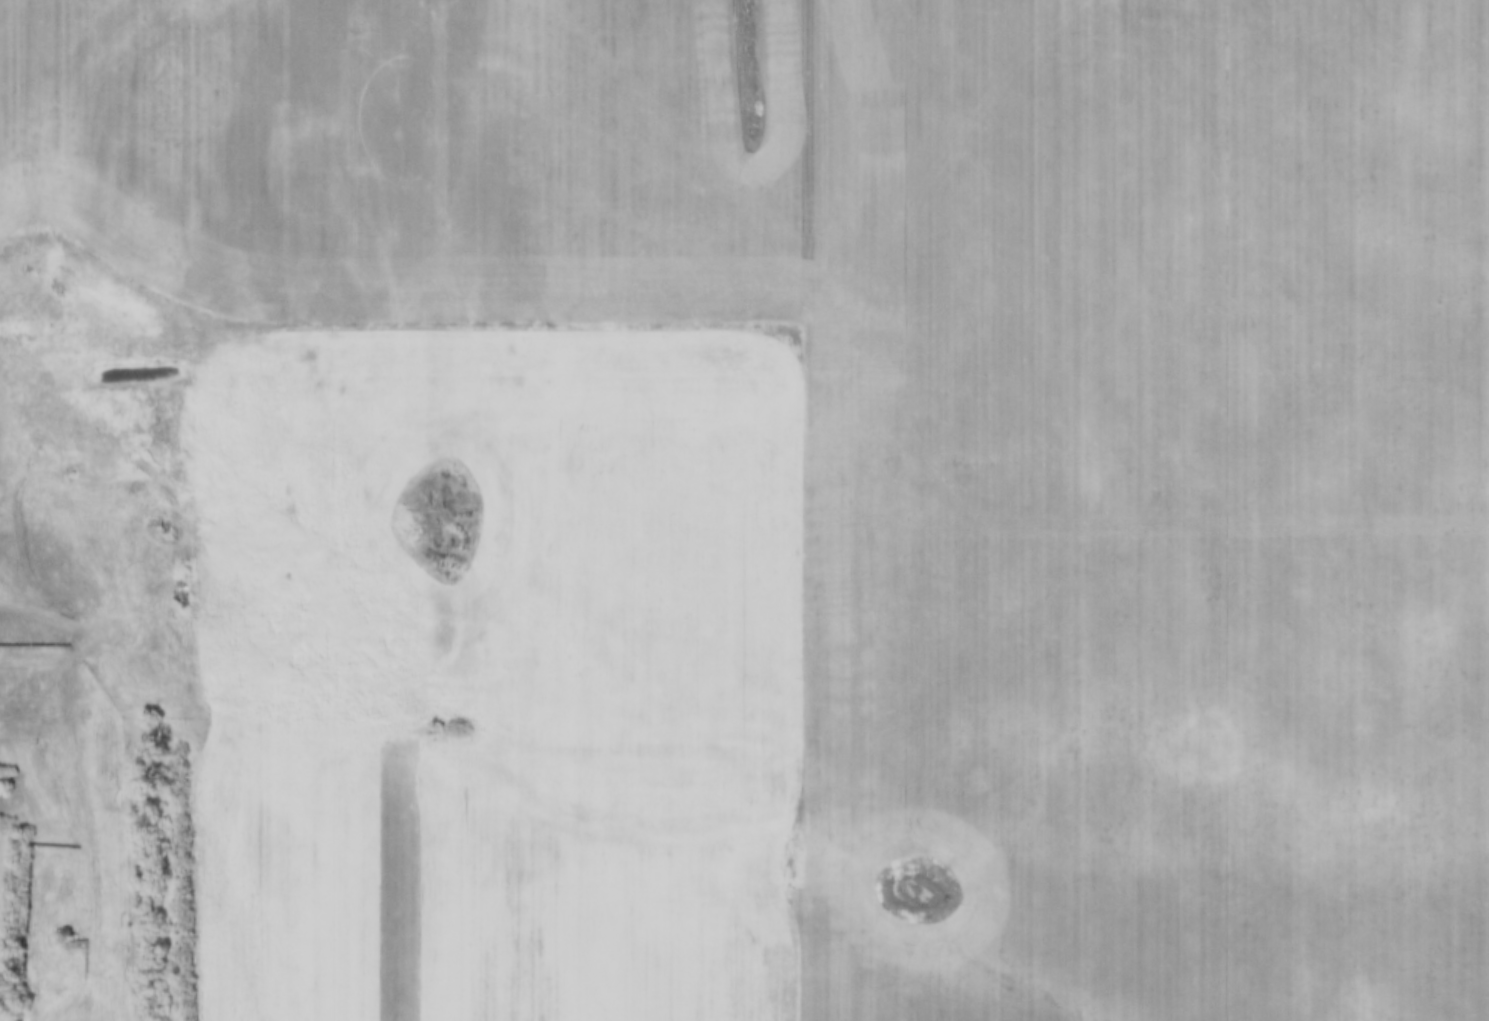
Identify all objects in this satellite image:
road: (28, 608)
airport runway: (391, 882)

